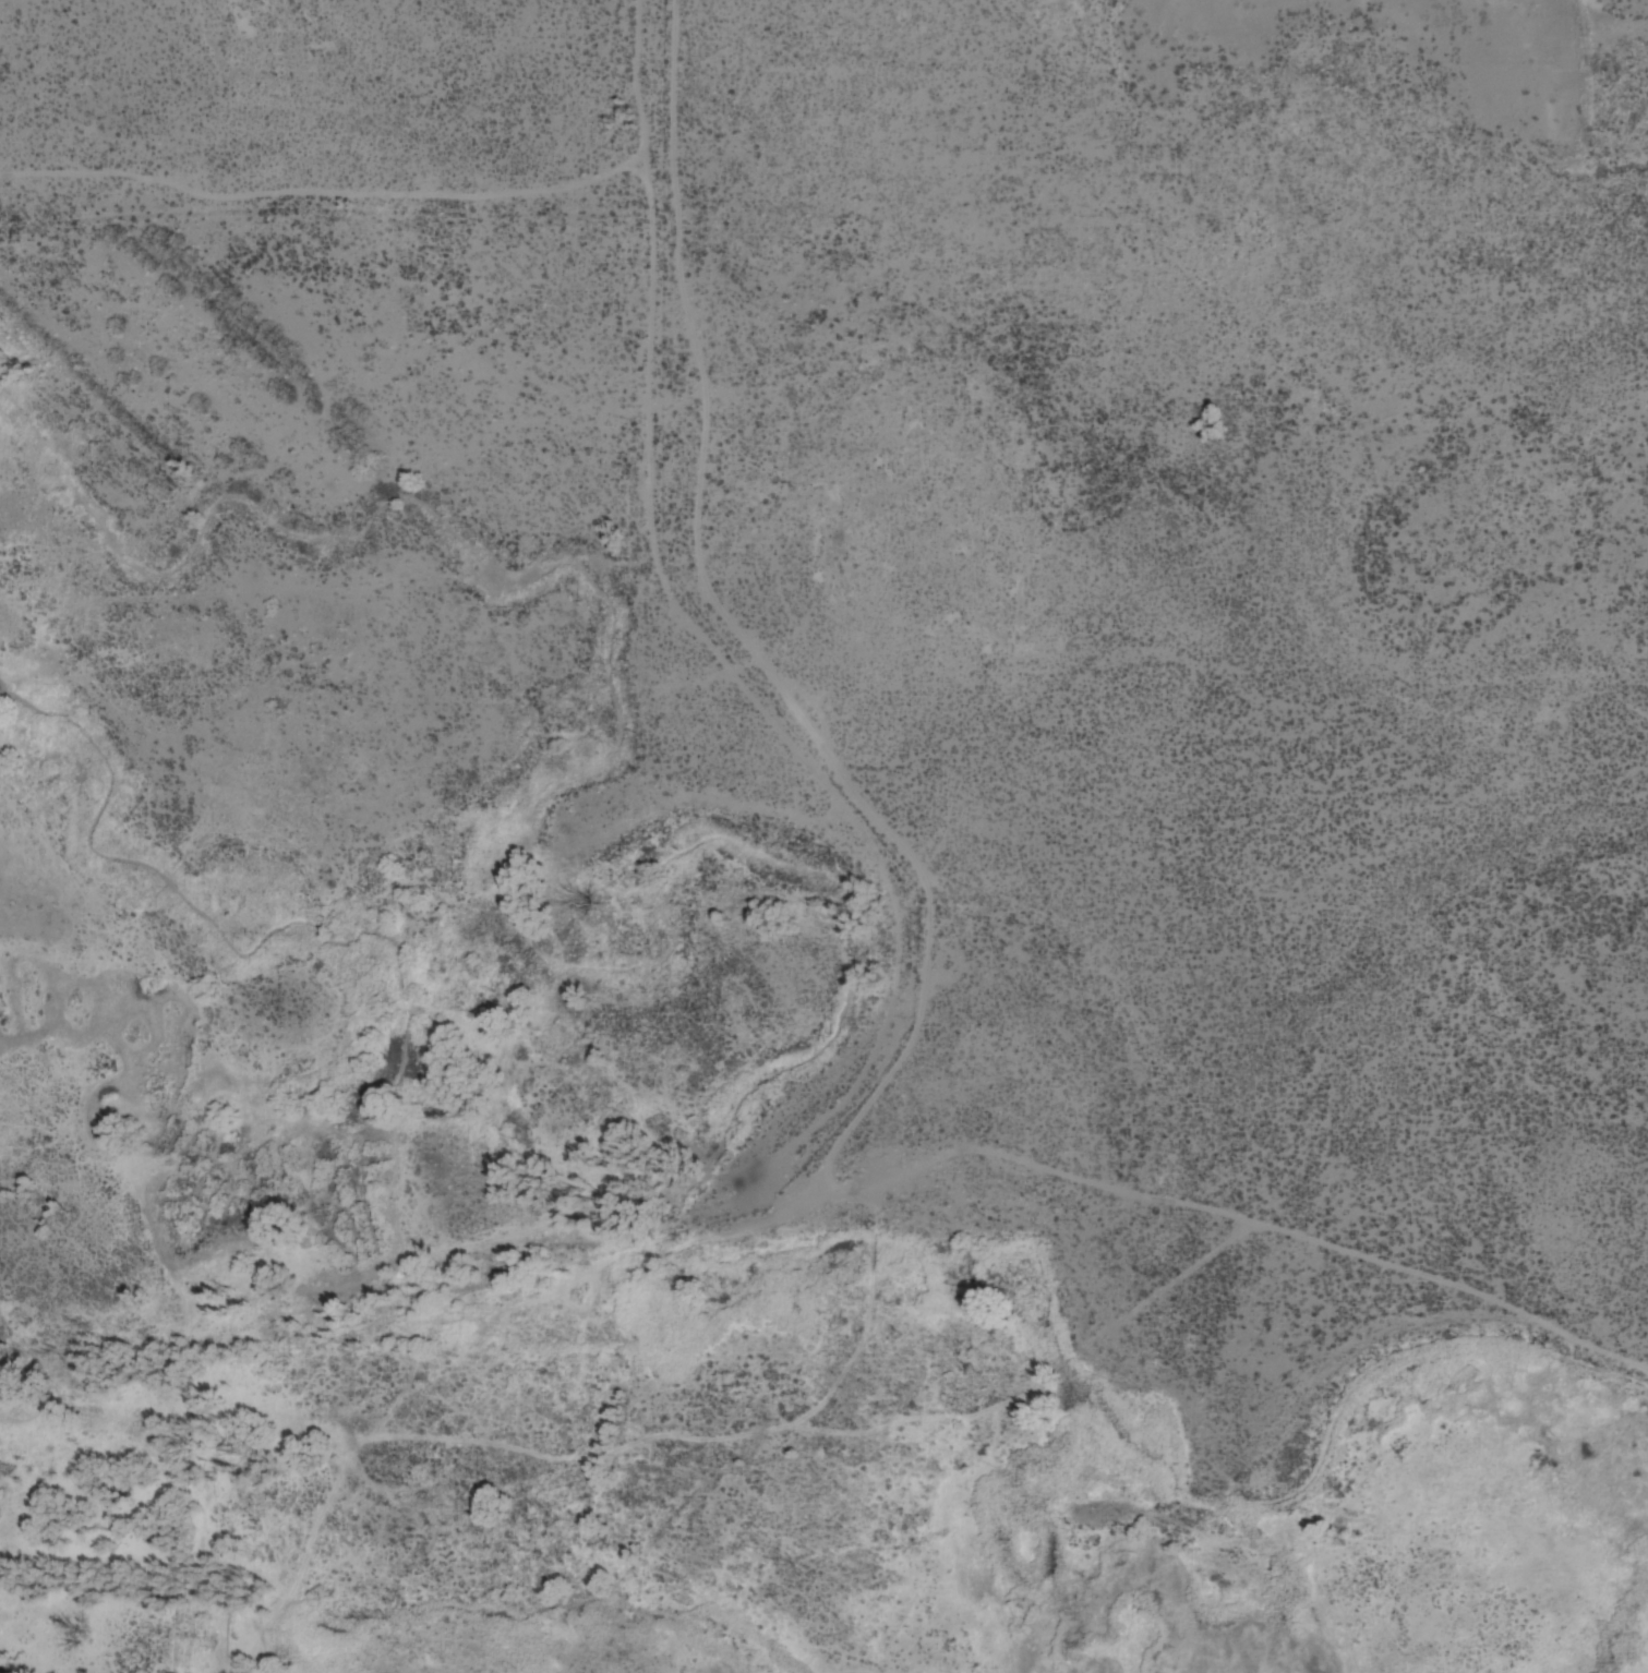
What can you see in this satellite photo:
road: (637, 47)
road: (1584, 86)
road: (325, 189)
road: (661, 322)
road: (712, 395)
road: (876, 868)
road: (933, 965)
road: (1168, 1196)
road: (614, 1451)

